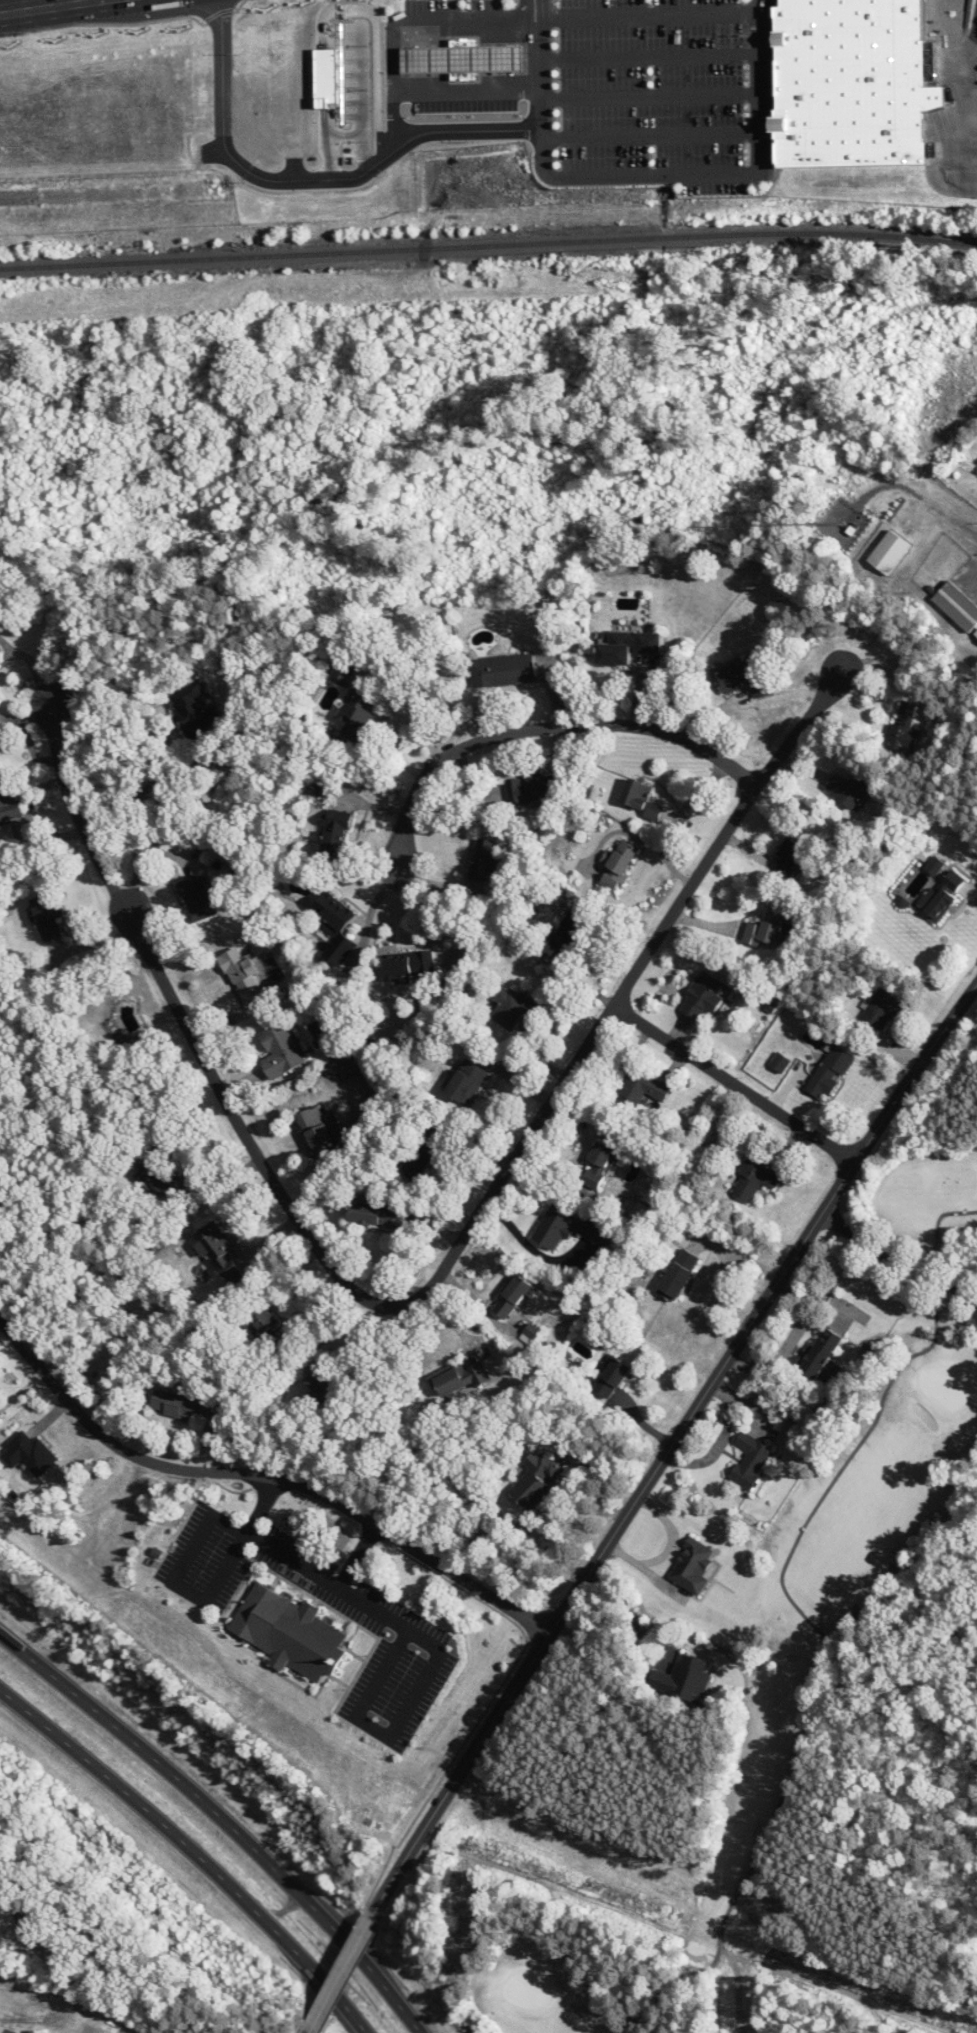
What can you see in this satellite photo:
road: (49, 7)
road: (533, 9)
road: (648, 16)
road: (439, 26)
road: (649, 46)
building: (461, 64)
road: (650, 80)
road: (436, 83)
building: (852, 84)
road: (541, 90)
road: (759, 91)
road: (652, 140)
road: (311, 181)
road: (652, 181)
railway: (488, 242)
road: (952, 516)
building: (889, 553)
building: (958, 607)
road: (4, 639)
building: (626, 647)
road: (8, 654)
road: (36, 666)
building: (504, 670)
building: (343, 672)
building: (745, 677)
building: (195, 708)
building: (357, 715)
road: (543, 727)
building: (903, 729)
building: (2, 742)
road: (147, 787)
building: (533, 788)
building: (850, 788)
building: (640, 798)
building: (8, 804)
building: (335, 835)
building: (789, 858)
building: (483, 859)
building: (619, 863)
road: (147, 864)
building: (935, 865)
building: (942, 896)
building: (196, 898)
building: (48, 914)
building: (335, 927)
building: (766, 928)
building: (569, 929)
road: (437, 930)
building: (409, 964)
building: (242, 974)
building: (703, 995)
building: (514, 1007)
building: (884, 1007)
building: (280, 1050)
building: (822, 1072)
building: (467, 1081)
road: (734, 1083)
building: (643, 1088)
building: (318, 1130)
building: (424, 1152)
building: (601, 1163)
building: (161, 1174)
building: (753, 1180)
building: (376, 1214)
building: (571, 1229)
building: (218, 1250)
road: (896, 1262)
building: (678, 1274)
road: (425, 1291)
building: (512, 1297)
building: (477, 1320)
building: (265, 1326)
building: (820, 1353)
building: (460, 1378)
building: (612, 1378)
building: (323, 1386)
building: (175, 1405)
road: (720, 1441)
road: (670, 1446)
building: (29, 1454)
building: (750, 1460)
road: (266, 1476)
building: (536, 1480)
road: (243, 1539)
road: (189, 1547)
road: (357, 1557)
building: (693, 1566)
road: (630, 1609)
building: (289, 1633)
road: (438, 1656)
building: (685, 1679)
park: (819, 1732)
road: (221, 1819)
road: (190, 1851)
road: (339, 1971)
power tower: (59, 2019)
road: (307, 2031)
road: (9, 2032)

